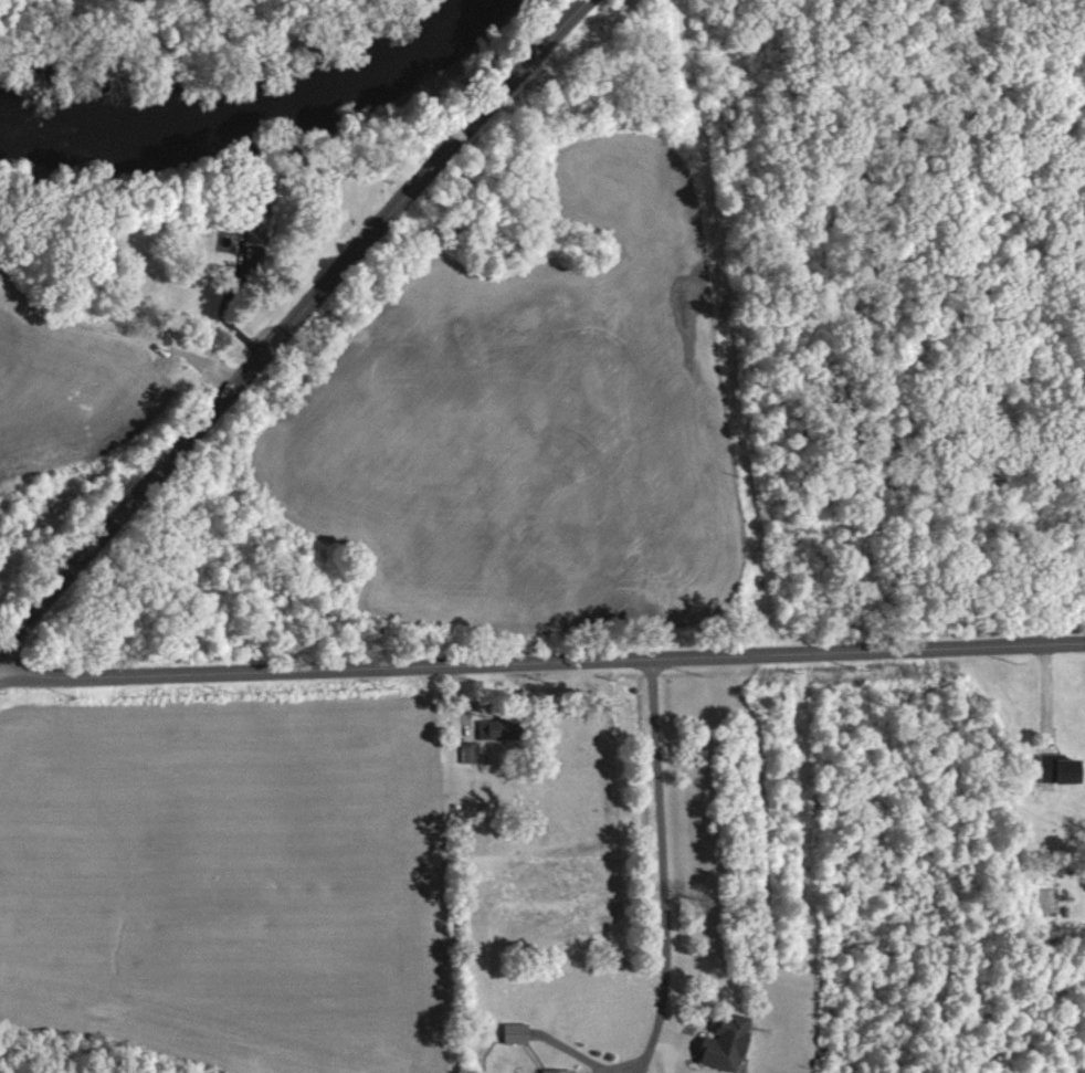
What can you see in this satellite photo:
river: (256, 118)
building: (256, 209)
road: (221, 301)
road: (288, 322)
crop: (55, 409)
road: (541, 659)
road: (457, 701)
building: (497, 726)
building: (466, 749)
building: (1062, 768)
road: (662, 865)
building: (519, 1032)
building: (726, 1039)
building: (560, 1071)
building: (691, 1072)

